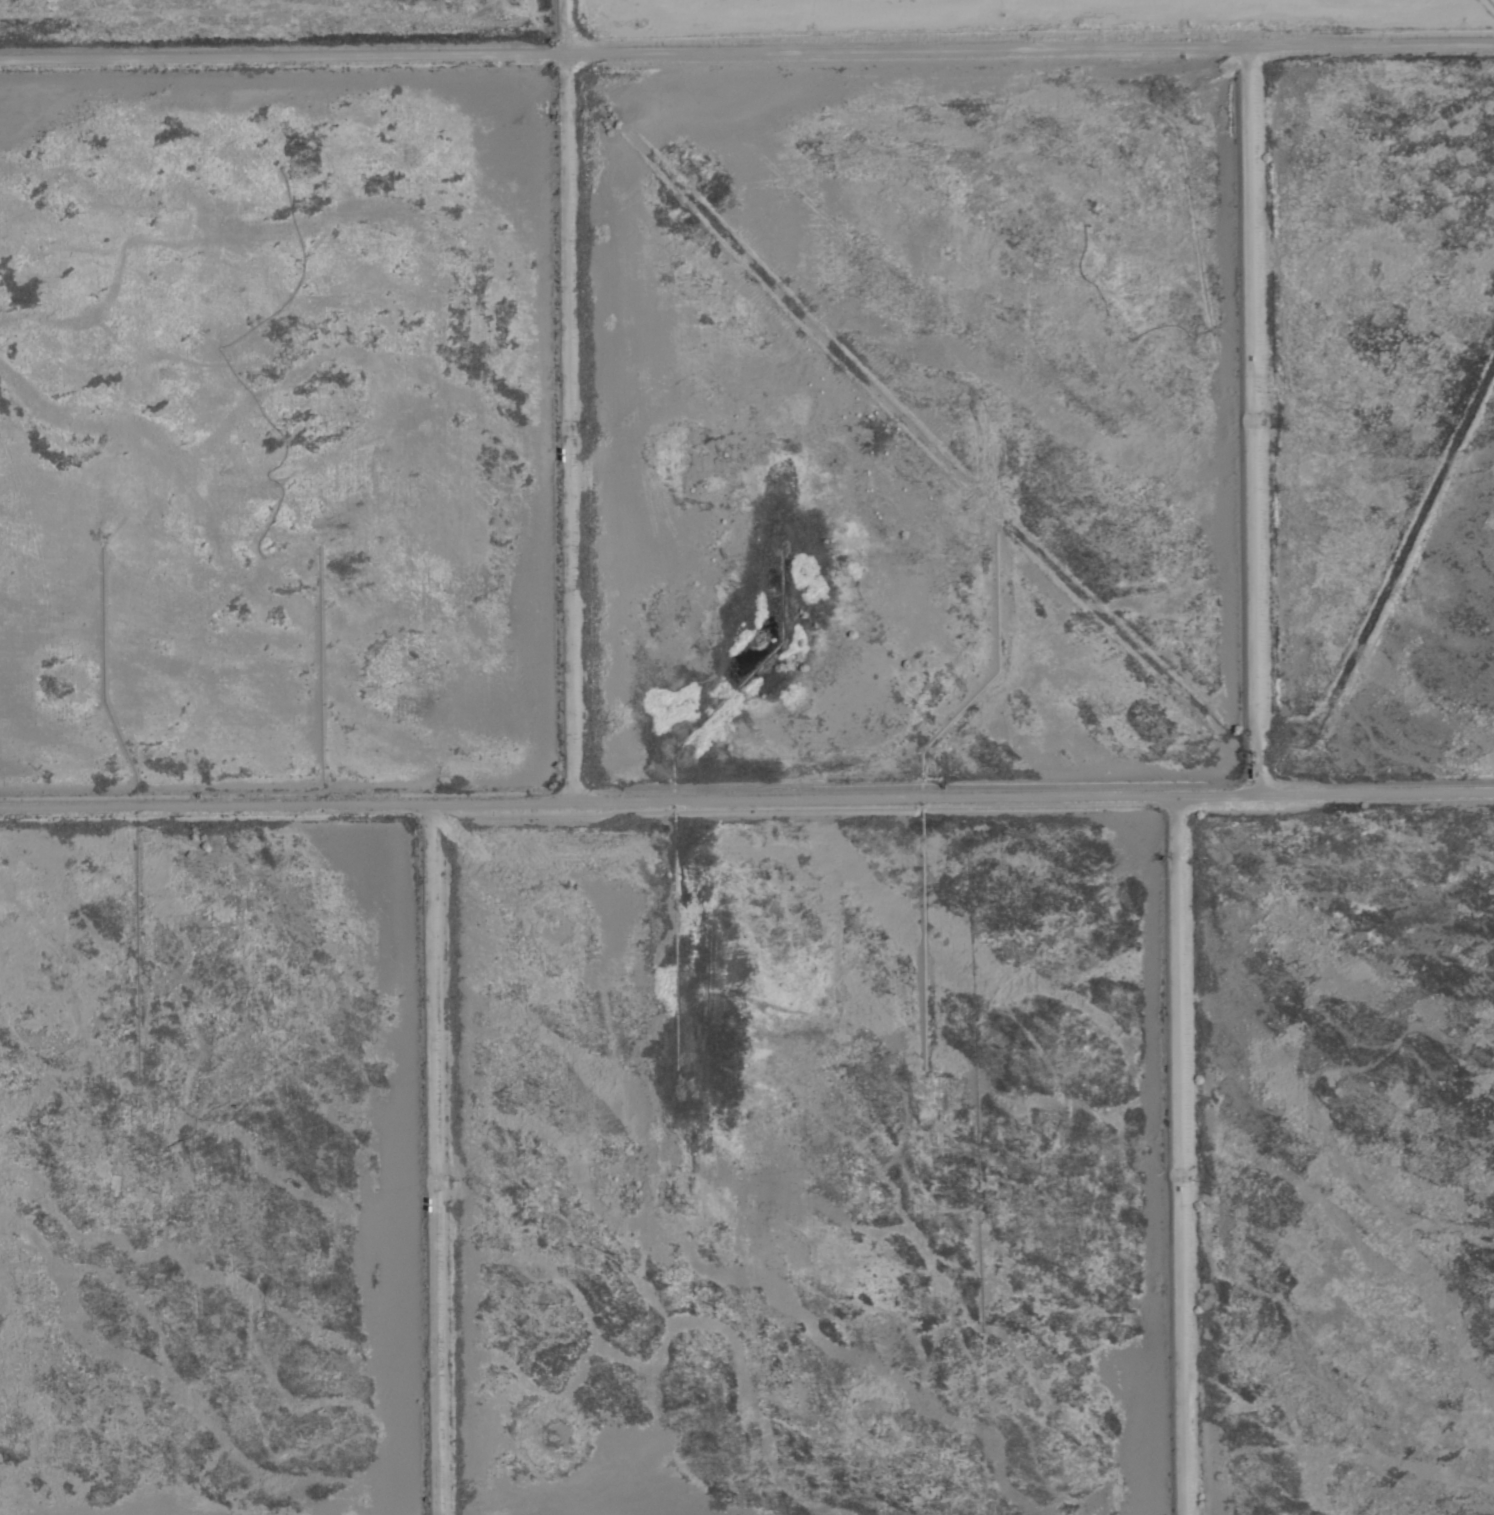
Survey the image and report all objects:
wastewater plant: (1379, 410)
wastewater plant: (893, 420)
wastewater plant: (264, 432)
wastewater plant: (747, 757)
wastewater plant: (1342, 1167)
wastewater plant: (793, 1171)
wastewater plant: (196, 1177)

